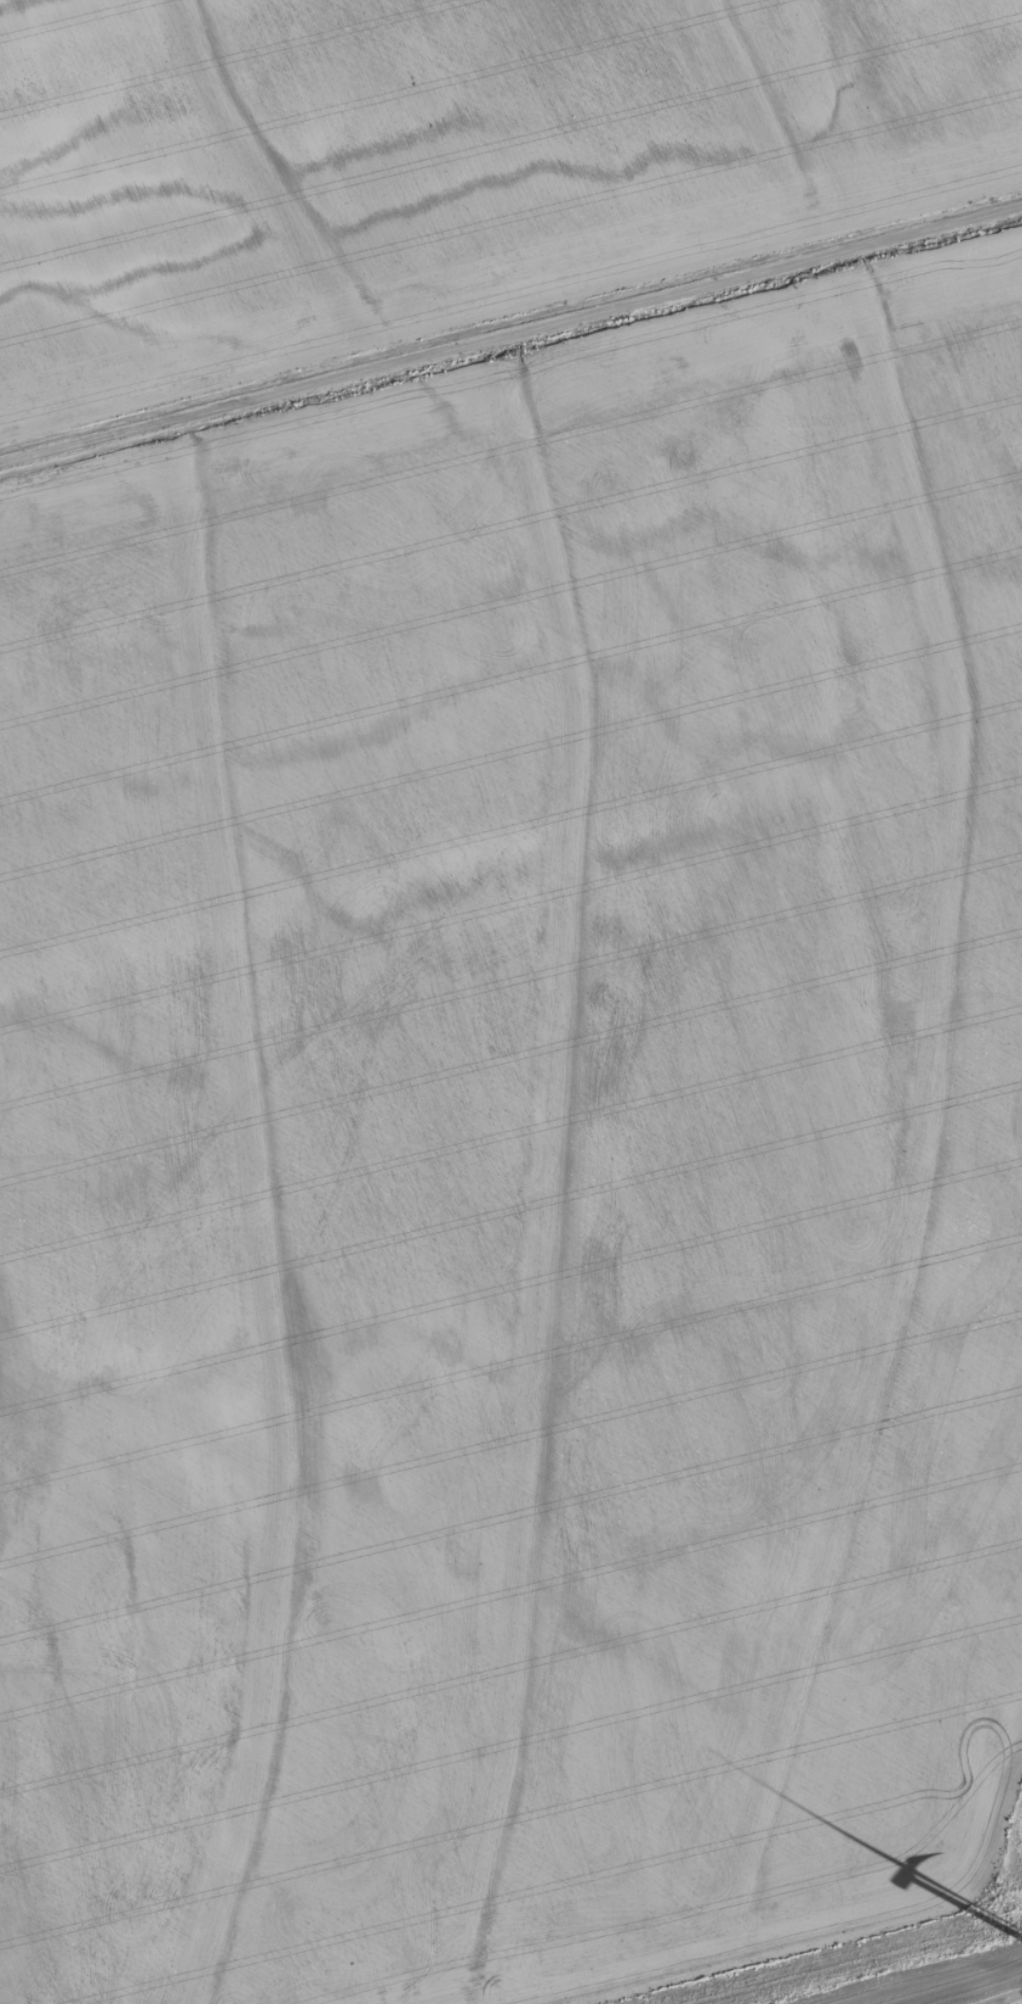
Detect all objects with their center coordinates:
road: (511, 330)

